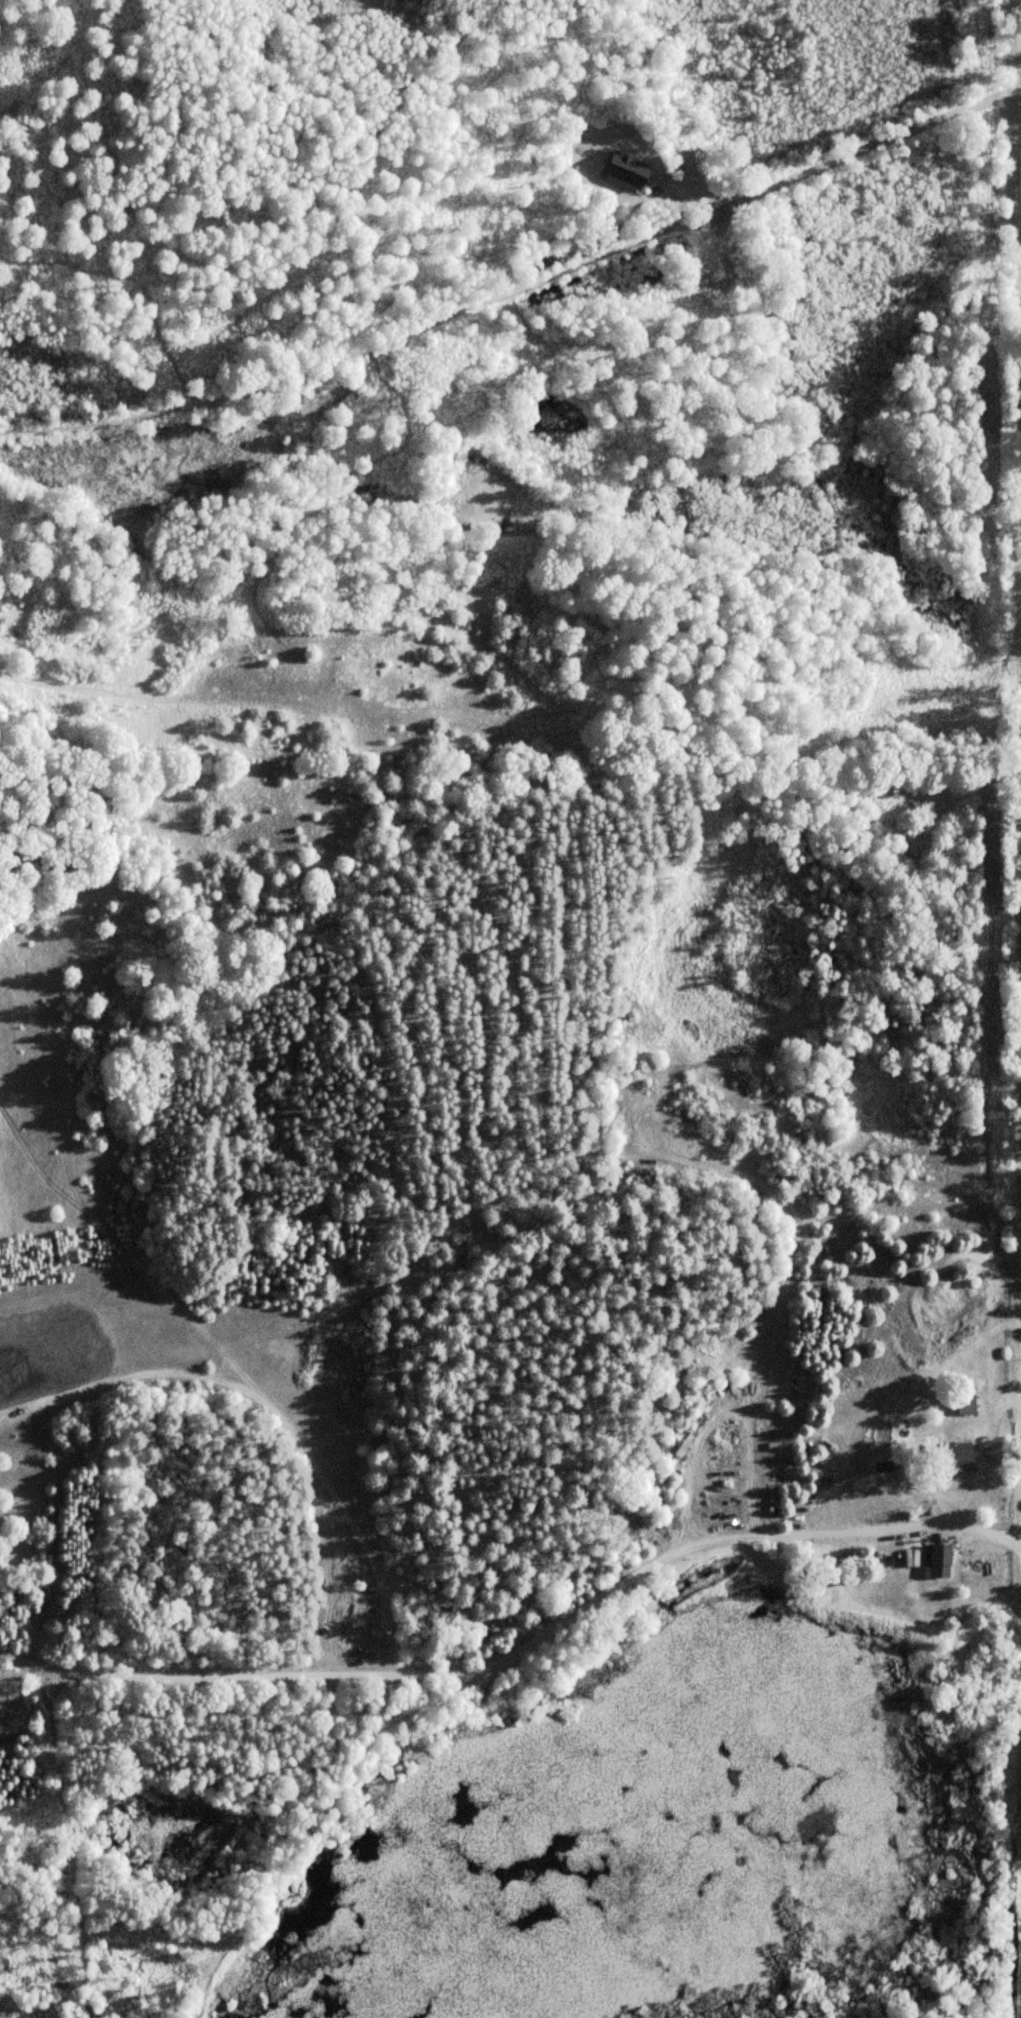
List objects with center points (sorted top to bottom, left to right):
road: (1018, 87)
building: (624, 172)
road: (1017, 326)
building: (967, 1403)
building: (952, 1457)
building: (936, 1564)

